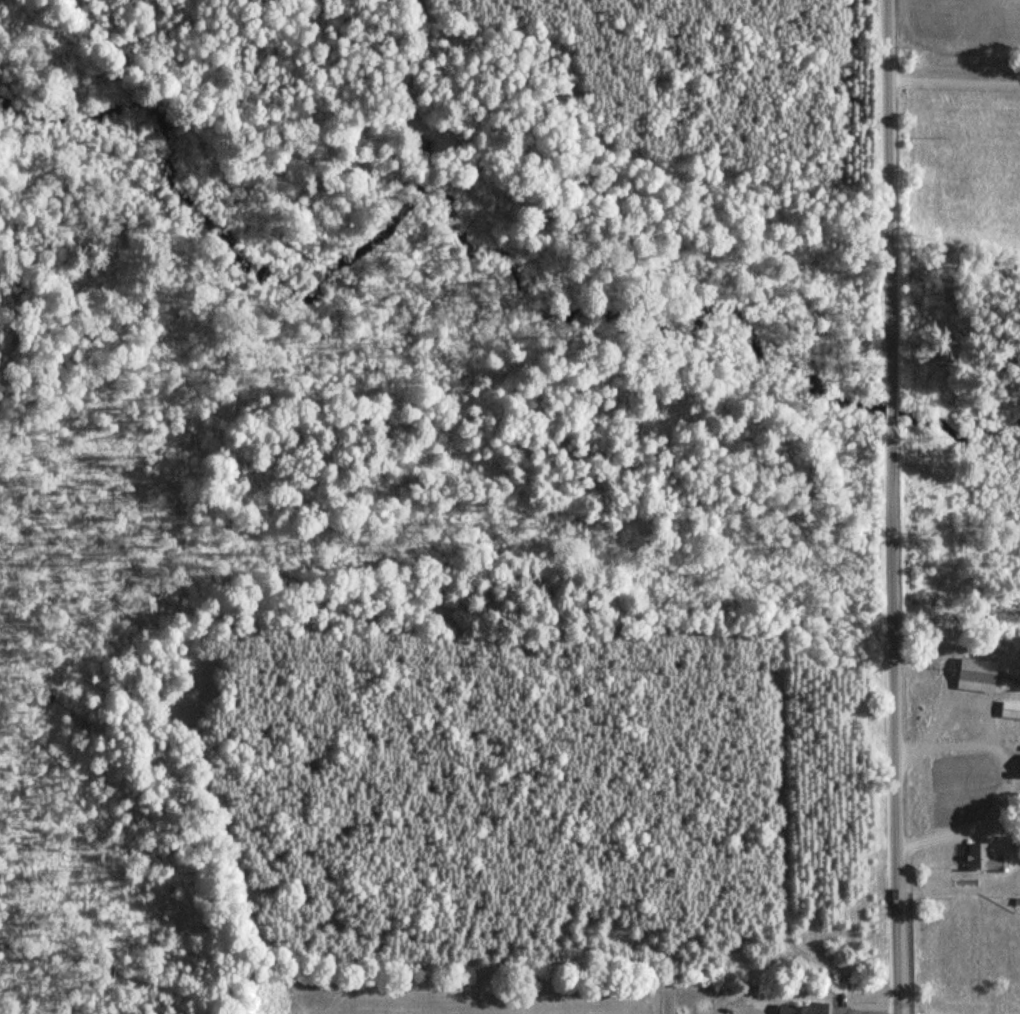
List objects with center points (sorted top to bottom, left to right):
road: (953, 75)
road: (889, 507)
building: (980, 672)
building: (986, 859)
building: (804, 1008)

